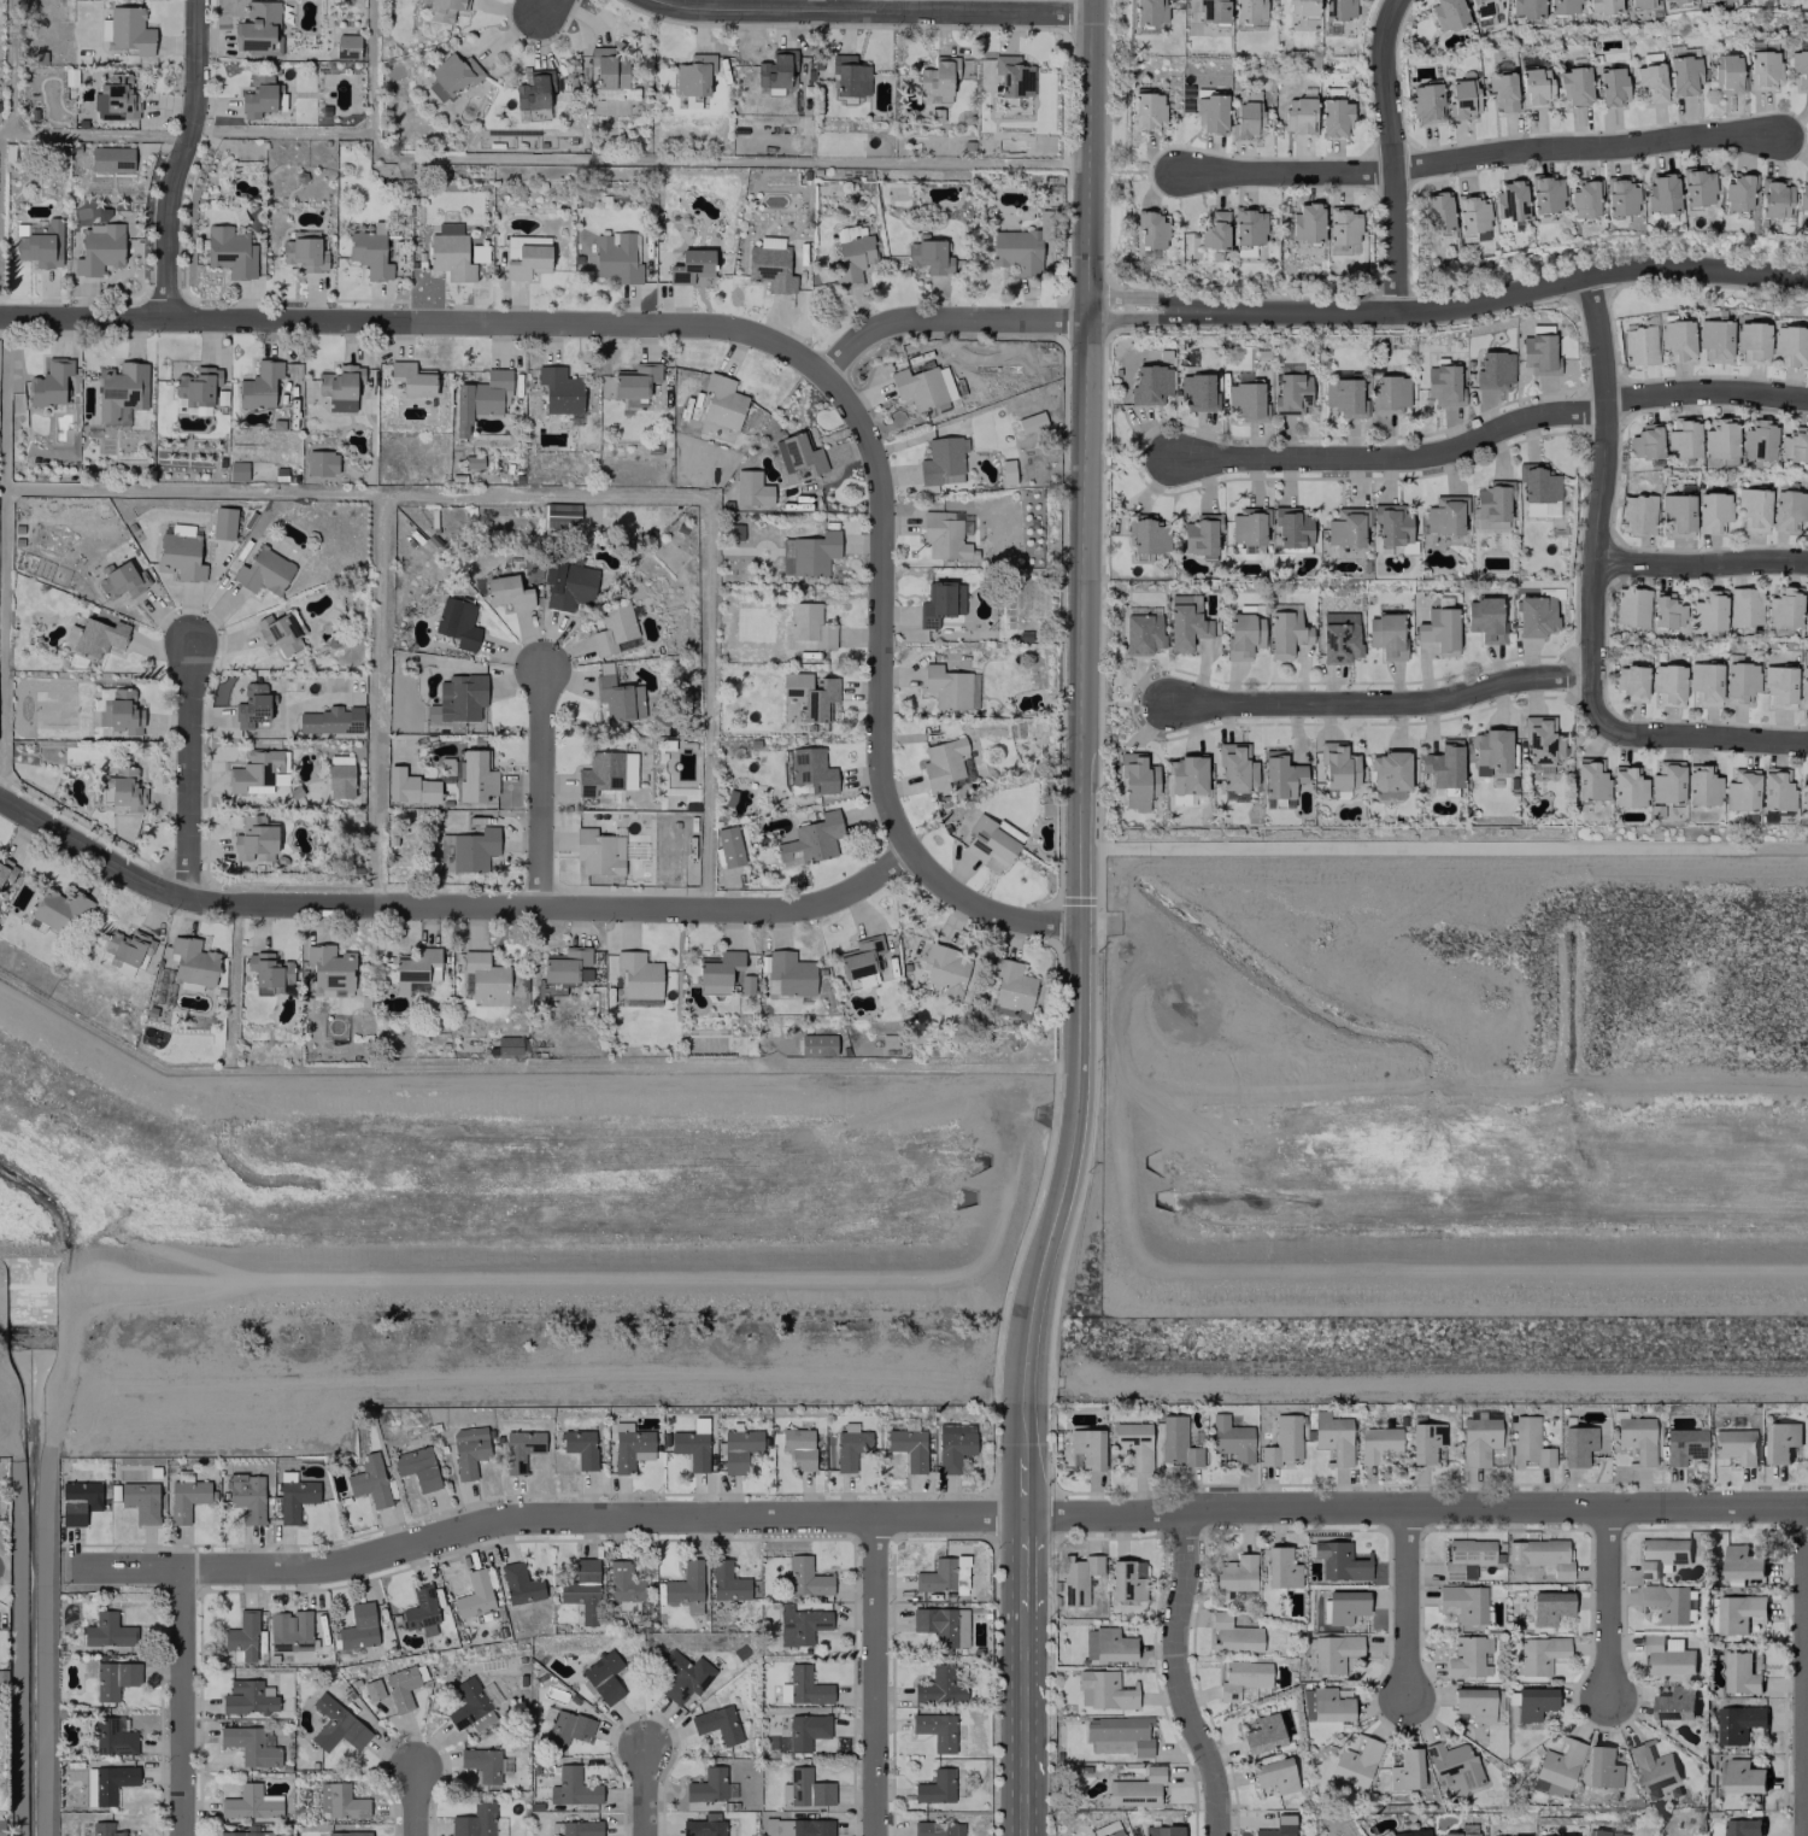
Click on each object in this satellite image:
building: (1666, 0)
building: (1639, 4)
road: (893, 5)
building: (1602, 5)
road: (545, 6)
building: (1483, 6)
building: (1562, 6)
building: (1301, 7)
building: (1525, 7)
building: (1337, 8)
building: (444, 10)
road: (868, 10)
building: (1248, 10)
building: (1149, 11)
building: (1213, 11)
building: (1446, 13)
building: (129, 30)
building: (346, 46)
building: (1800, 66)
building: (607, 68)
building: (776, 69)
building: (1763, 69)
building: (1725, 72)
building: (692, 75)
building: (849, 75)
building: (1683, 75)
building: (451, 76)
building: (938, 76)
building: (1011, 76)
building: (1650, 81)
building: (1574, 86)
building: (1610, 86)
building: (1534, 87)
building: (1502, 90)
building: (258, 95)
building: (533, 95)
building: (116, 99)
building: (1462, 99)
building: (1426, 101)
building: (1146, 111)
building: (1210, 113)
building: (1299, 116)
building: (1333, 117)
road: (1395, 154)
road: (181, 157)
road: (1479, 157)
building: (110, 159)
building: (1696, 186)
building: (1660, 192)
building: (1736, 192)
building: (1545, 193)
building: (1803, 193)
building: (1620, 195)
building: (1581, 198)
building: (1771, 198)
building: (1509, 200)
building: (1436, 211)
building: (1471, 215)
building: (1305, 222)
building: (1248, 225)
building: (1150, 229)
building: (1214, 230)
building: (1342, 230)
building: (41, 244)
building: (99, 247)
building: (229, 251)
building: (304, 251)
building: (450, 252)
building: (370, 254)
building: (526, 254)
building: (852, 254)
building: (928, 254)
building: (616, 257)
building: (769, 264)
building: (691, 265)
road: (1304, 310)
road: (416, 321)
building: (1677, 339)
building: (1715, 340)
building: (1751, 341)
building: (1638, 345)
building: (1789, 345)
building: (1537, 352)
building: (1495, 370)
building: (412, 377)
building: (49, 382)
building: (635, 382)
building: (1150, 383)
building: (259, 385)
building: (1443, 385)
building: (196, 386)
building: (922, 386)
building: (339, 387)
building: (559, 389)
building: (1196, 391)
building: (121, 392)
building: (487, 393)
building: (1389, 393)
building: (1342, 398)
building: (1245, 399)
building: (721, 401)
building: (1031, 422)
road: (1492, 435)
building: (1681, 438)
building: (1719, 438)
building: (1756, 440)
building: (1645, 441)
building: (1794, 444)
building: (798, 453)
building: (941, 461)
building: (321, 462)
building: (237, 470)
building: (1006, 471)
building: (1538, 489)
road: (1604, 499)
building: (1490, 506)
building: (1751, 508)
building: (1788, 509)
building: (1712, 511)
building: (1637, 512)
building: (558, 515)
building: (1677, 515)
building: (223, 522)
building: (1391, 524)
building: (1291, 526)
building: (1346, 527)
building: (946, 534)
building: (1201, 534)
building: (1145, 536)
building: (814, 552)
building: (180, 553)
road: (1704, 565)
building: (263, 571)
building: (119, 580)
building: (568, 586)
building: (507, 592)
building: (938, 604)
building: (1631, 606)
building: (1744, 606)
building: (1783, 608)
building: (1666, 610)
building: (1707, 610)
building: (1806, 611)
building: (1536, 615)
building: (1484, 618)
building: (457, 622)
building: (1185, 622)
building: (810, 624)
building: (614, 629)
building: (1439, 629)
building: (278, 632)
building: (1286, 633)
building: (1141, 634)
building: (1243, 634)
building: (1385, 635)
building: (99, 637)
building: (1339, 637)
building: (1631, 681)
building: (1739, 681)
building: (1704, 682)
building: (1667, 684)
building: (1802, 686)
building: (950, 687)
building: (1779, 687)
building: (810, 693)
building: (617, 694)
building: (460, 697)
road: (876, 702)
road: (1380, 704)
building: (119, 711)
building: (331, 720)
road: (1079, 728)
road: (1707, 737)
building: (1540, 740)
building: (1490, 751)
building: (943, 762)
building: (1443, 763)
building: (1338, 766)
building: (1235, 767)
road: (188, 768)
building: (1389, 770)
building: (257, 772)
building: (606, 772)
building: (810, 772)
building: (1186, 774)
building: (1279, 774)
building: (475, 776)
building: (1138, 776)
building: (1590, 779)
building: (339, 780)
building: (1666, 781)
building: (1702, 785)
building: (410, 786)
road: (540, 786)
building: (1627, 786)
building: (1775, 788)
building: (1741, 790)
building: (125, 791)
building: (1803, 797)
building: (812, 838)
building: (254, 839)
building: (991, 839)
building: (728, 845)
building: (468, 850)
building: (6, 872)
road: (448, 905)
building: (59, 910)
building: (124, 950)
building: (859, 962)
building: (193, 963)
building: (567, 964)
building: (331, 968)
building: (416, 968)
building: (945, 968)
building: (268, 972)
building: (717, 972)
building: (789, 972)
building: (485, 974)
building: (638, 974)
building: (1011, 990)
building: (817, 1044)
building: (507, 1045)
dam: (1467, 1262)
dam: (491, 1269)
building: (1333, 1437)
building: (1637, 1437)
building: (1229, 1438)
building: (1478, 1439)
building: (1176, 1441)
building: (1282, 1441)
building: (1425, 1441)
building: (1780, 1441)
building: (1376, 1442)
building: (692, 1443)
building: (1133, 1443)
building: (1528, 1443)
building: (953, 1444)
building: (1684, 1444)
building: (1734, 1444)
building: (580, 1447)
building: (630, 1447)
building: (798, 1447)
building: (908, 1447)
building: (1087, 1447)
building: (1578, 1447)
building: (739, 1448)
building: (850, 1448)
building: (521, 1449)
building: (468, 1450)
building: (417, 1467)
building: (369, 1479)
road: (1019, 1484)
building: (186, 1498)
building: (247, 1498)
building: (140, 1500)
building: (294, 1500)
building: (77, 1501)
road: (1413, 1508)
road: (540, 1514)
building: (1540, 1555)
building: (1661, 1555)
building: (1466, 1556)
building: (1339, 1560)
building: (1742, 1562)
road: (1021, 1567)
building: (1280, 1567)
building: (1234, 1573)
building: (943, 1574)
building: (1078, 1578)
building: (1127, 1579)
building: (623, 1582)
building: (727, 1582)
building: (518, 1583)
building: (683, 1584)
building: (582, 1589)
building: (474, 1594)
building: (1462, 1602)
building: (1671, 1602)
road: (1405, 1603)
road: (1609, 1605)
building: (1344, 1606)
building: (1549, 1607)
building: (421, 1609)
building: (1737, 1612)
building: (799, 1624)
building: (941, 1625)
building: (358, 1626)
building: (106, 1630)
building: (288, 1631)
building: (1232, 1635)
building: (242, 1636)
building: (1106, 1644)
road: (1021, 1649)
building: (1334, 1652)
building: (1540, 1653)
building: (1467, 1655)
building: (1667, 1656)
building: (1742, 1671)
road: (871, 1674)
road: (1176, 1674)
building: (683, 1676)
building: (603, 1677)
building: (1241, 1677)
building: (115, 1678)
building: (403, 1685)
building: (806, 1685)
building: (939, 1685)
building: (1103, 1690)
building: (247, 1697)
road: (182, 1702)
building: (1533, 1702)
building: (1675, 1702)
building: (1473, 1703)
building: (472, 1705)
building: (1323, 1705)
building: (1737, 1723)
building: (717, 1724)
building: (336, 1725)
building: (565, 1725)
road: (1807, 1729)
building: (805, 1730)
building: (935, 1730)
building: (1119, 1734)
building: (1262, 1734)
building: (112, 1736)
building: (251, 1746)
road: (1020, 1759)
building: (1355, 1762)
building: (485, 1764)
building: (1452, 1765)
building: (1557, 1767)
building: (1602, 1767)
building: (1653, 1768)
building: (1405, 1770)
building: (1274, 1775)
building: (1742, 1776)
building: (106, 1783)
building: (710, 1785)
building: (573, 1787)
building: (935, 1787)
building: (804, 1788)
building: (1135, 1788)
road: (645, 1790)
building: (339, 1800)
road: (417, 1801)
building: (250, 1802)
building: (477, 1822)
building: (704, 1825)
building: (1, 1826)
building: (797, 1826)
building: (1278, 1826)
building: (575, 1828)
building: (1741, 1828)
building: (106, 1829)
building: (937, 1829)
building: (1162, 1830)
building: (245, 1831)
building: (348, 1832)
building: (1114, 1832)
building: (1410, 1832)
building: (1606, 1832)
building: (1458, 1834)
building: (1516, 1835)
building: (1556, 1835)

